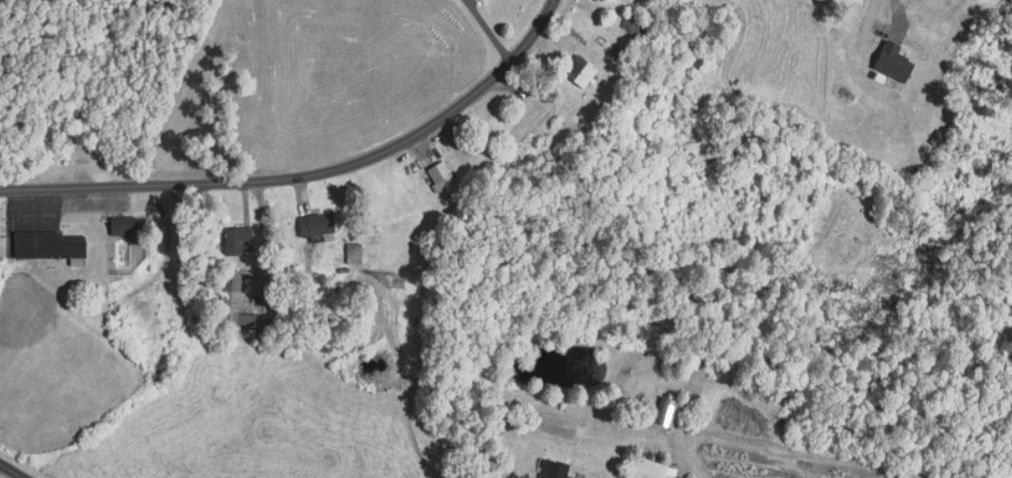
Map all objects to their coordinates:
building: (636, 22)
road: (486, 30)
building: (614, 51)
building: (892, 61)
building: (697, 66)
building: (579, 70)
building: (80, 158)
road: (307, 174)
building: (440, 175)
parking lot: (94, 202)
building: (316, 223)
building: (123, 224)
building: (235, 238)
building: (48, 242)
building: (353, 251)
building: (78, 260)
power tower: (394, 282)
building: (231, 291)
park: (53, 368)
building: (668, 412)
building: (650, 468)
building: (553, 469)
road: (11, 471)

